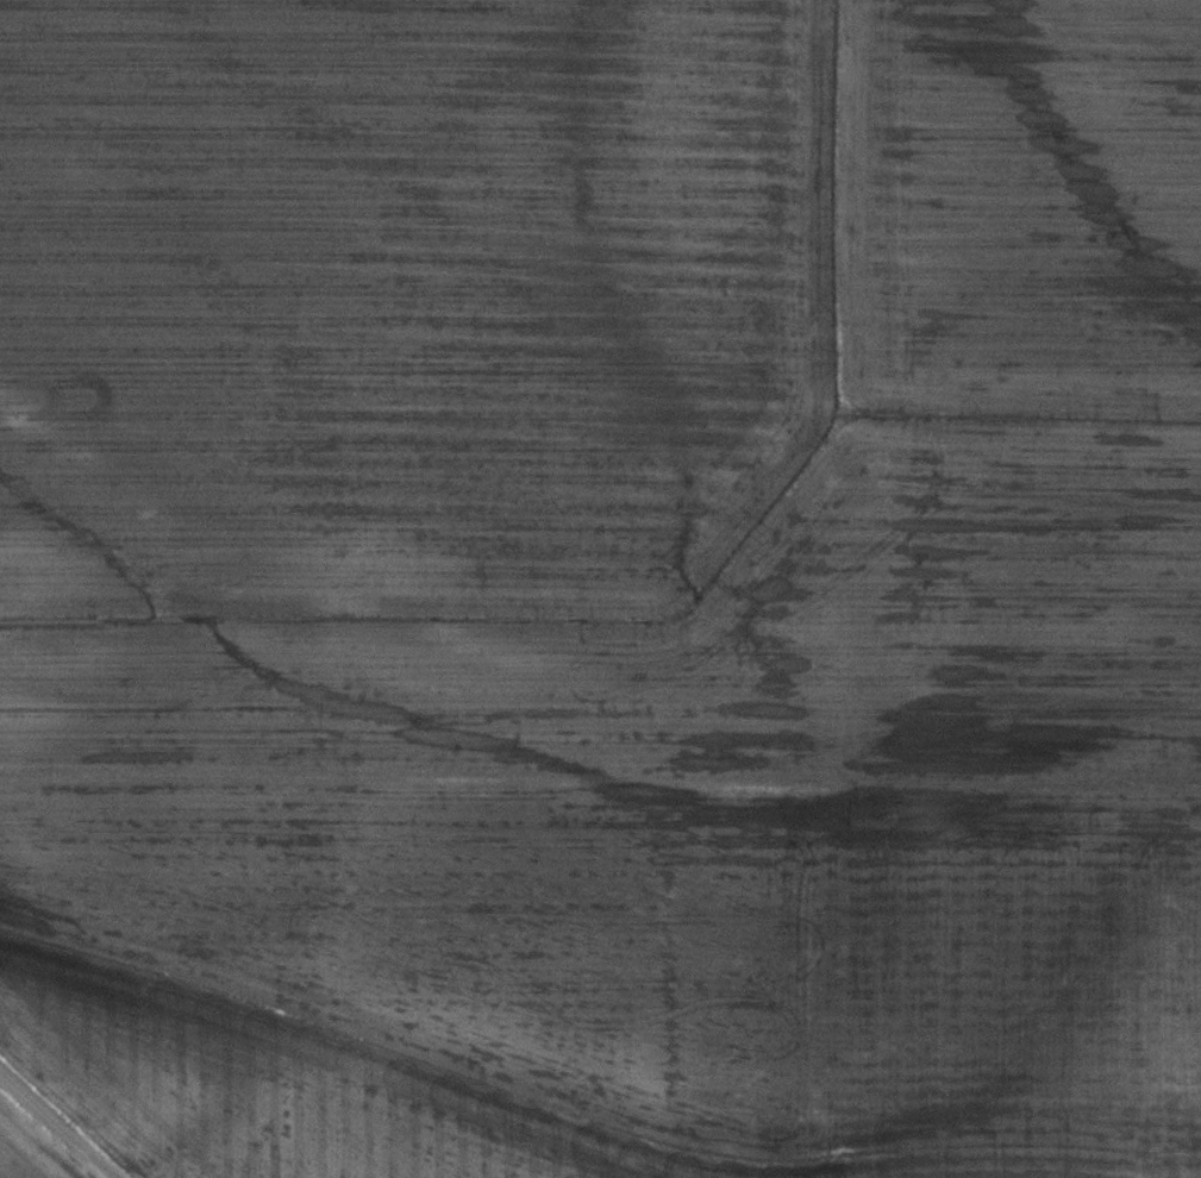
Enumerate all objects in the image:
road: (49, 1129)

